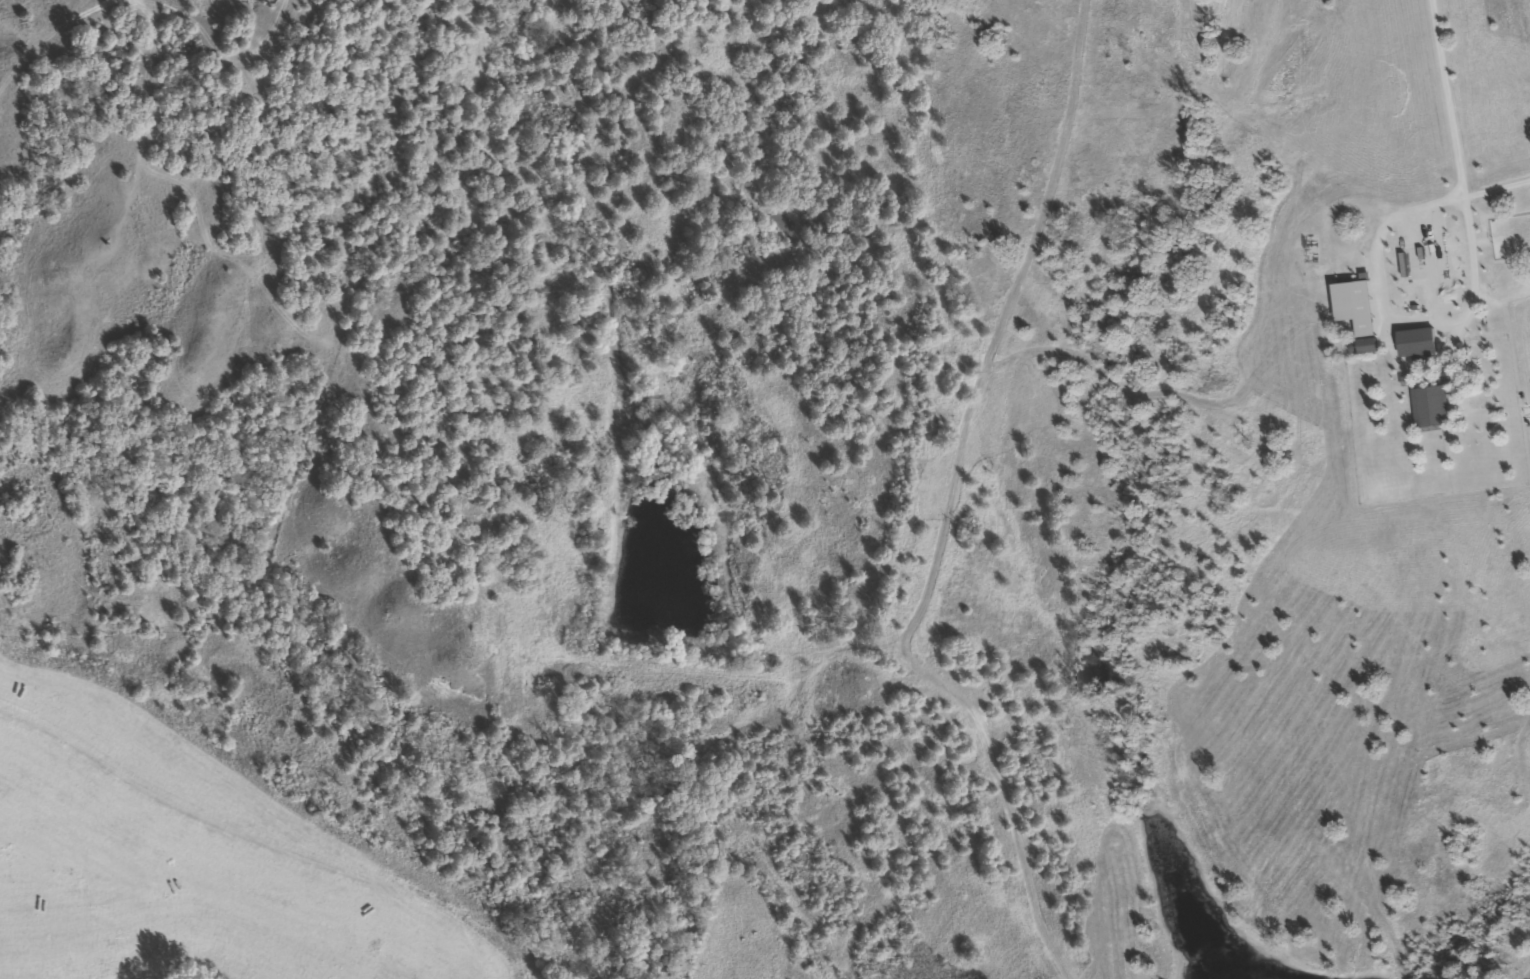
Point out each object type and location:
building: (1365, 345)
building: (1428, 405)

